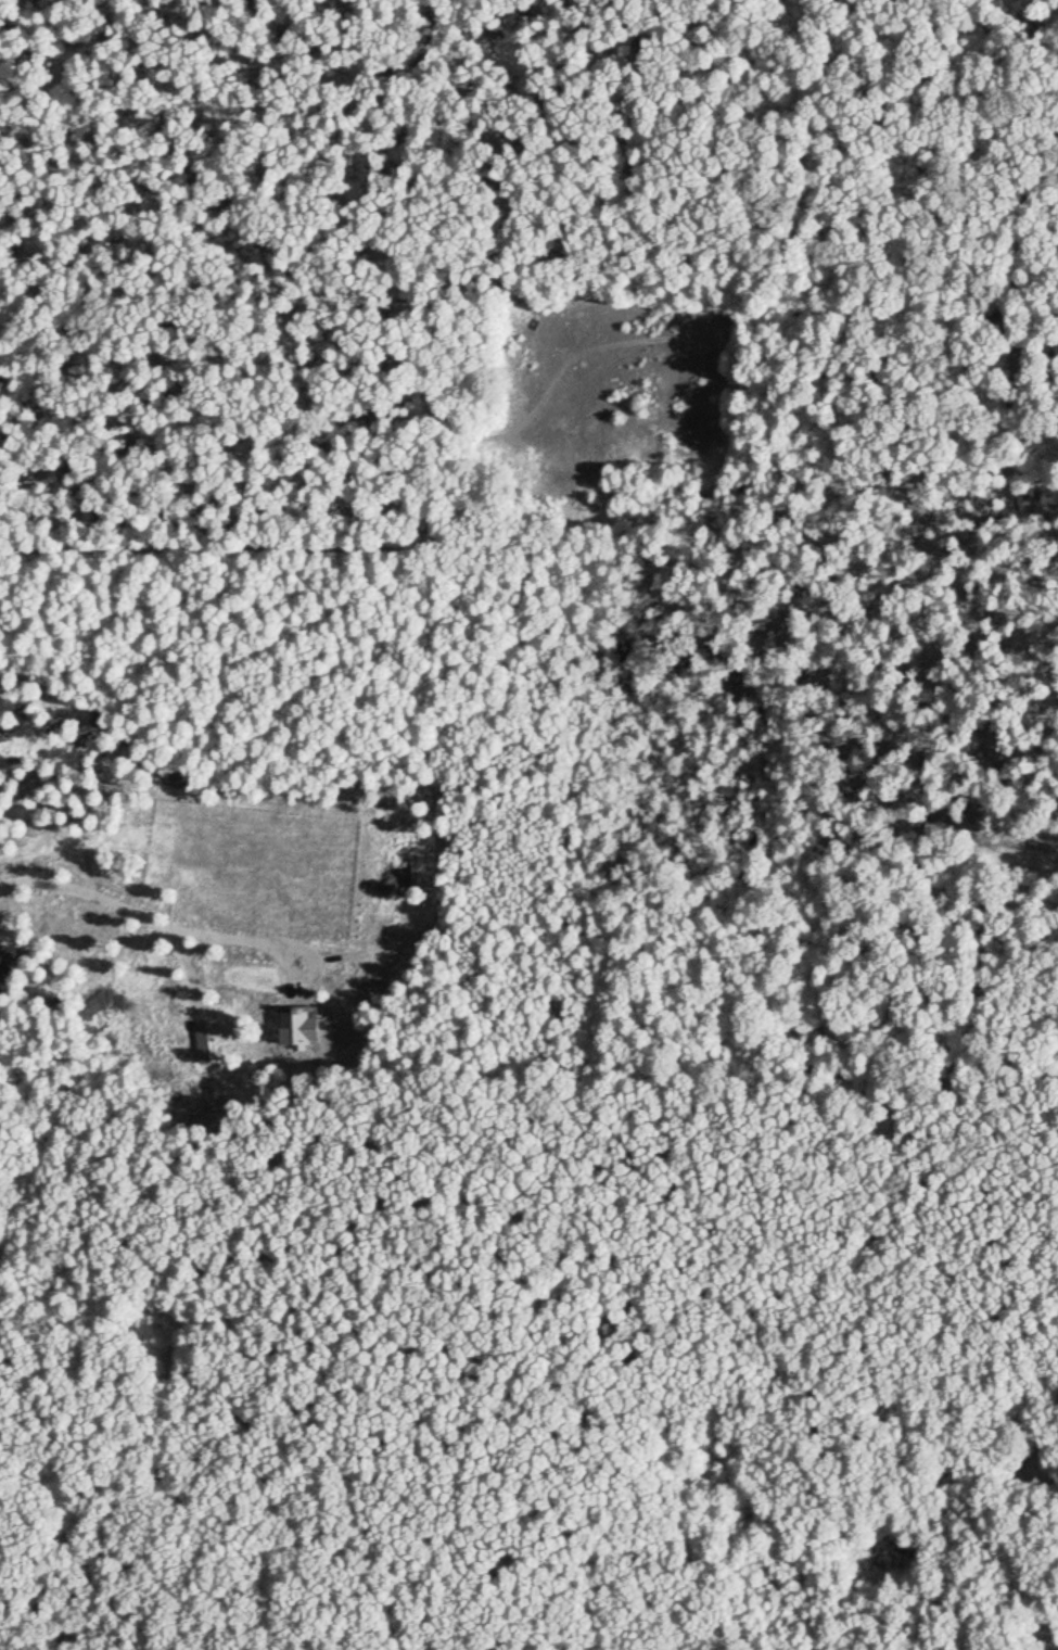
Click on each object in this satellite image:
road: (1027, 356)
road: (524, 444)
road: (143, 914)
road: (257, 940)
building: (296, 1026)
road: (649, 1140)
road: (869, 1213)

